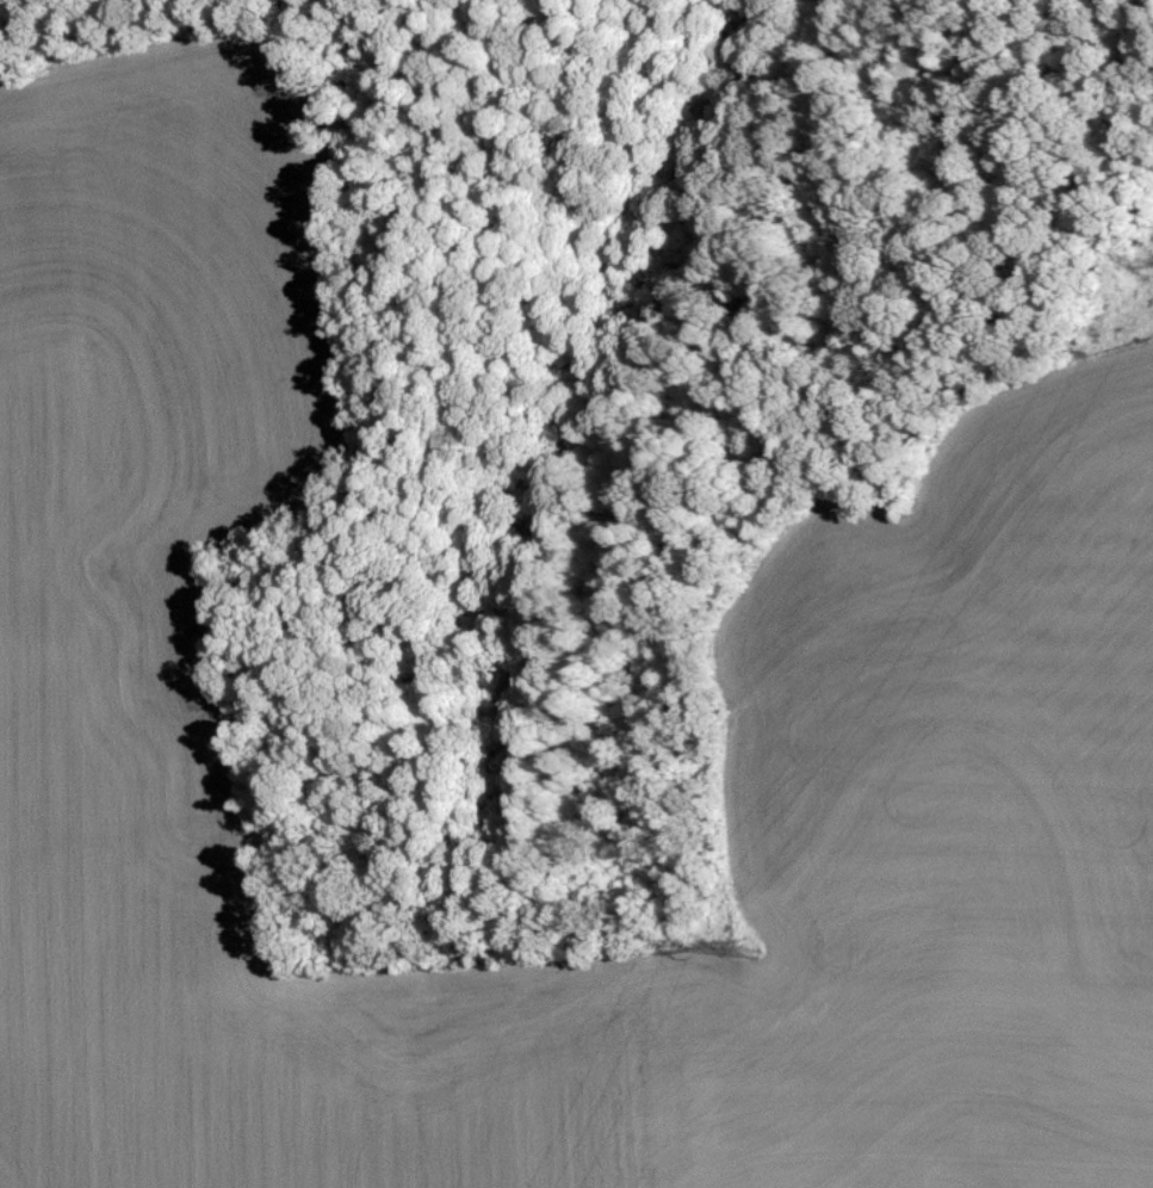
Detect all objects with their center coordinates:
power tower: (755, 948)

